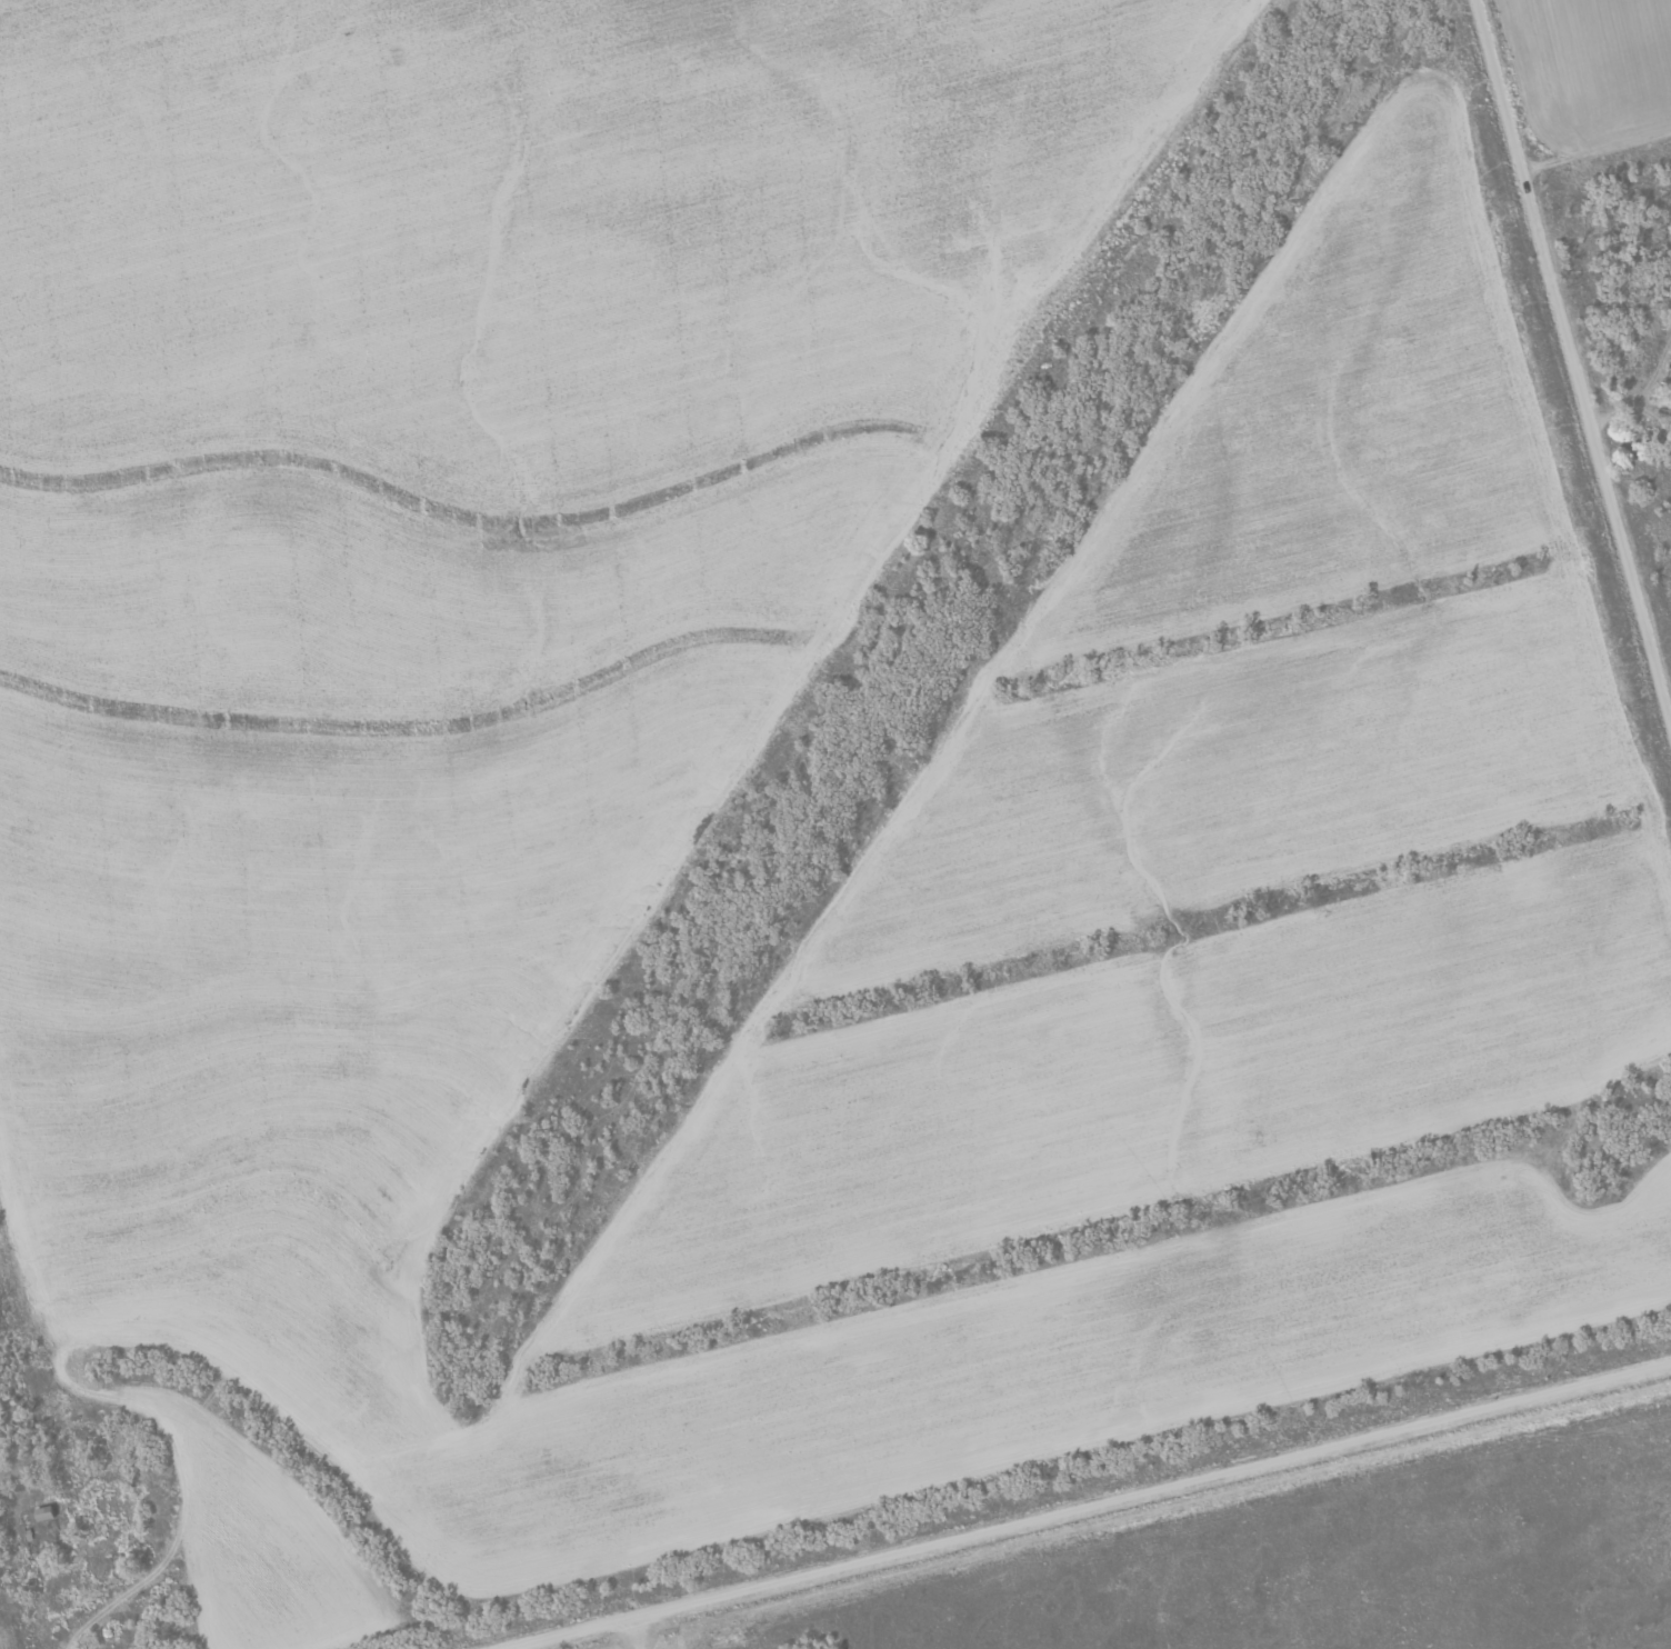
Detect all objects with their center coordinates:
road: (1558, 380)
road: (1091, 1505)

